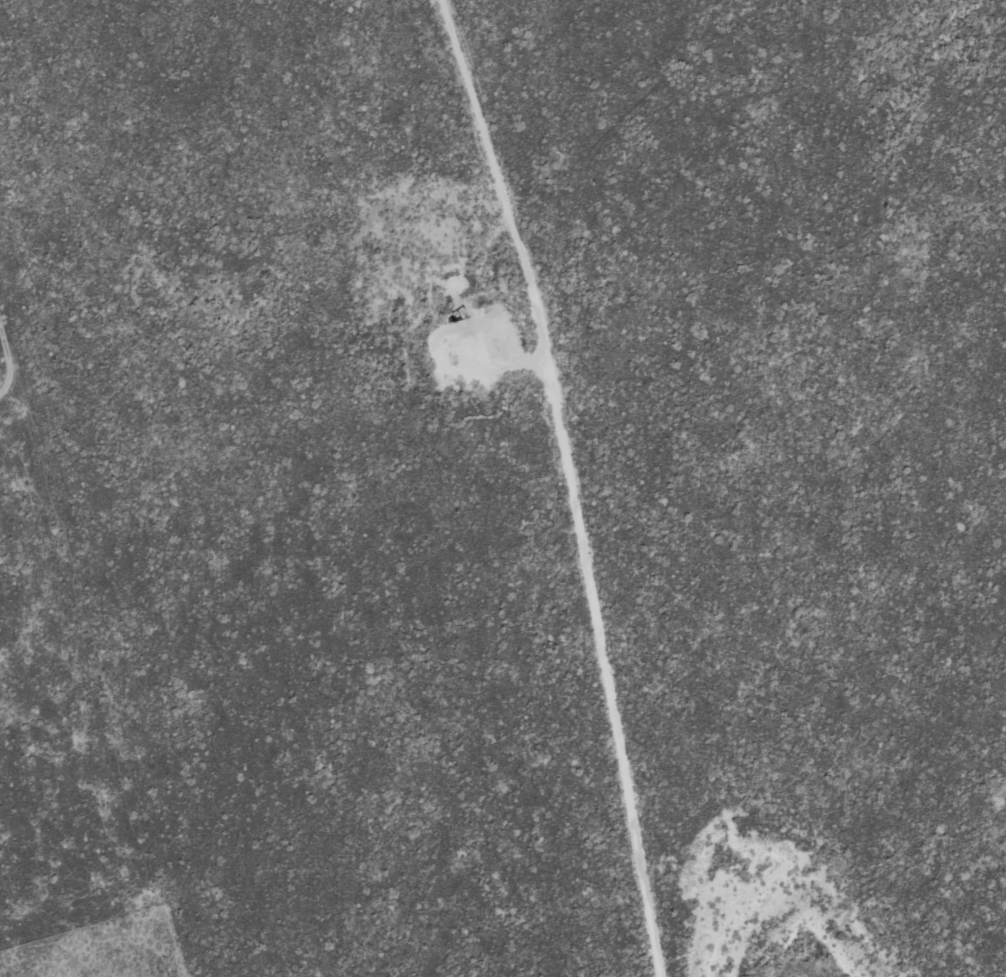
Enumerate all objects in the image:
road: (533, 181)

